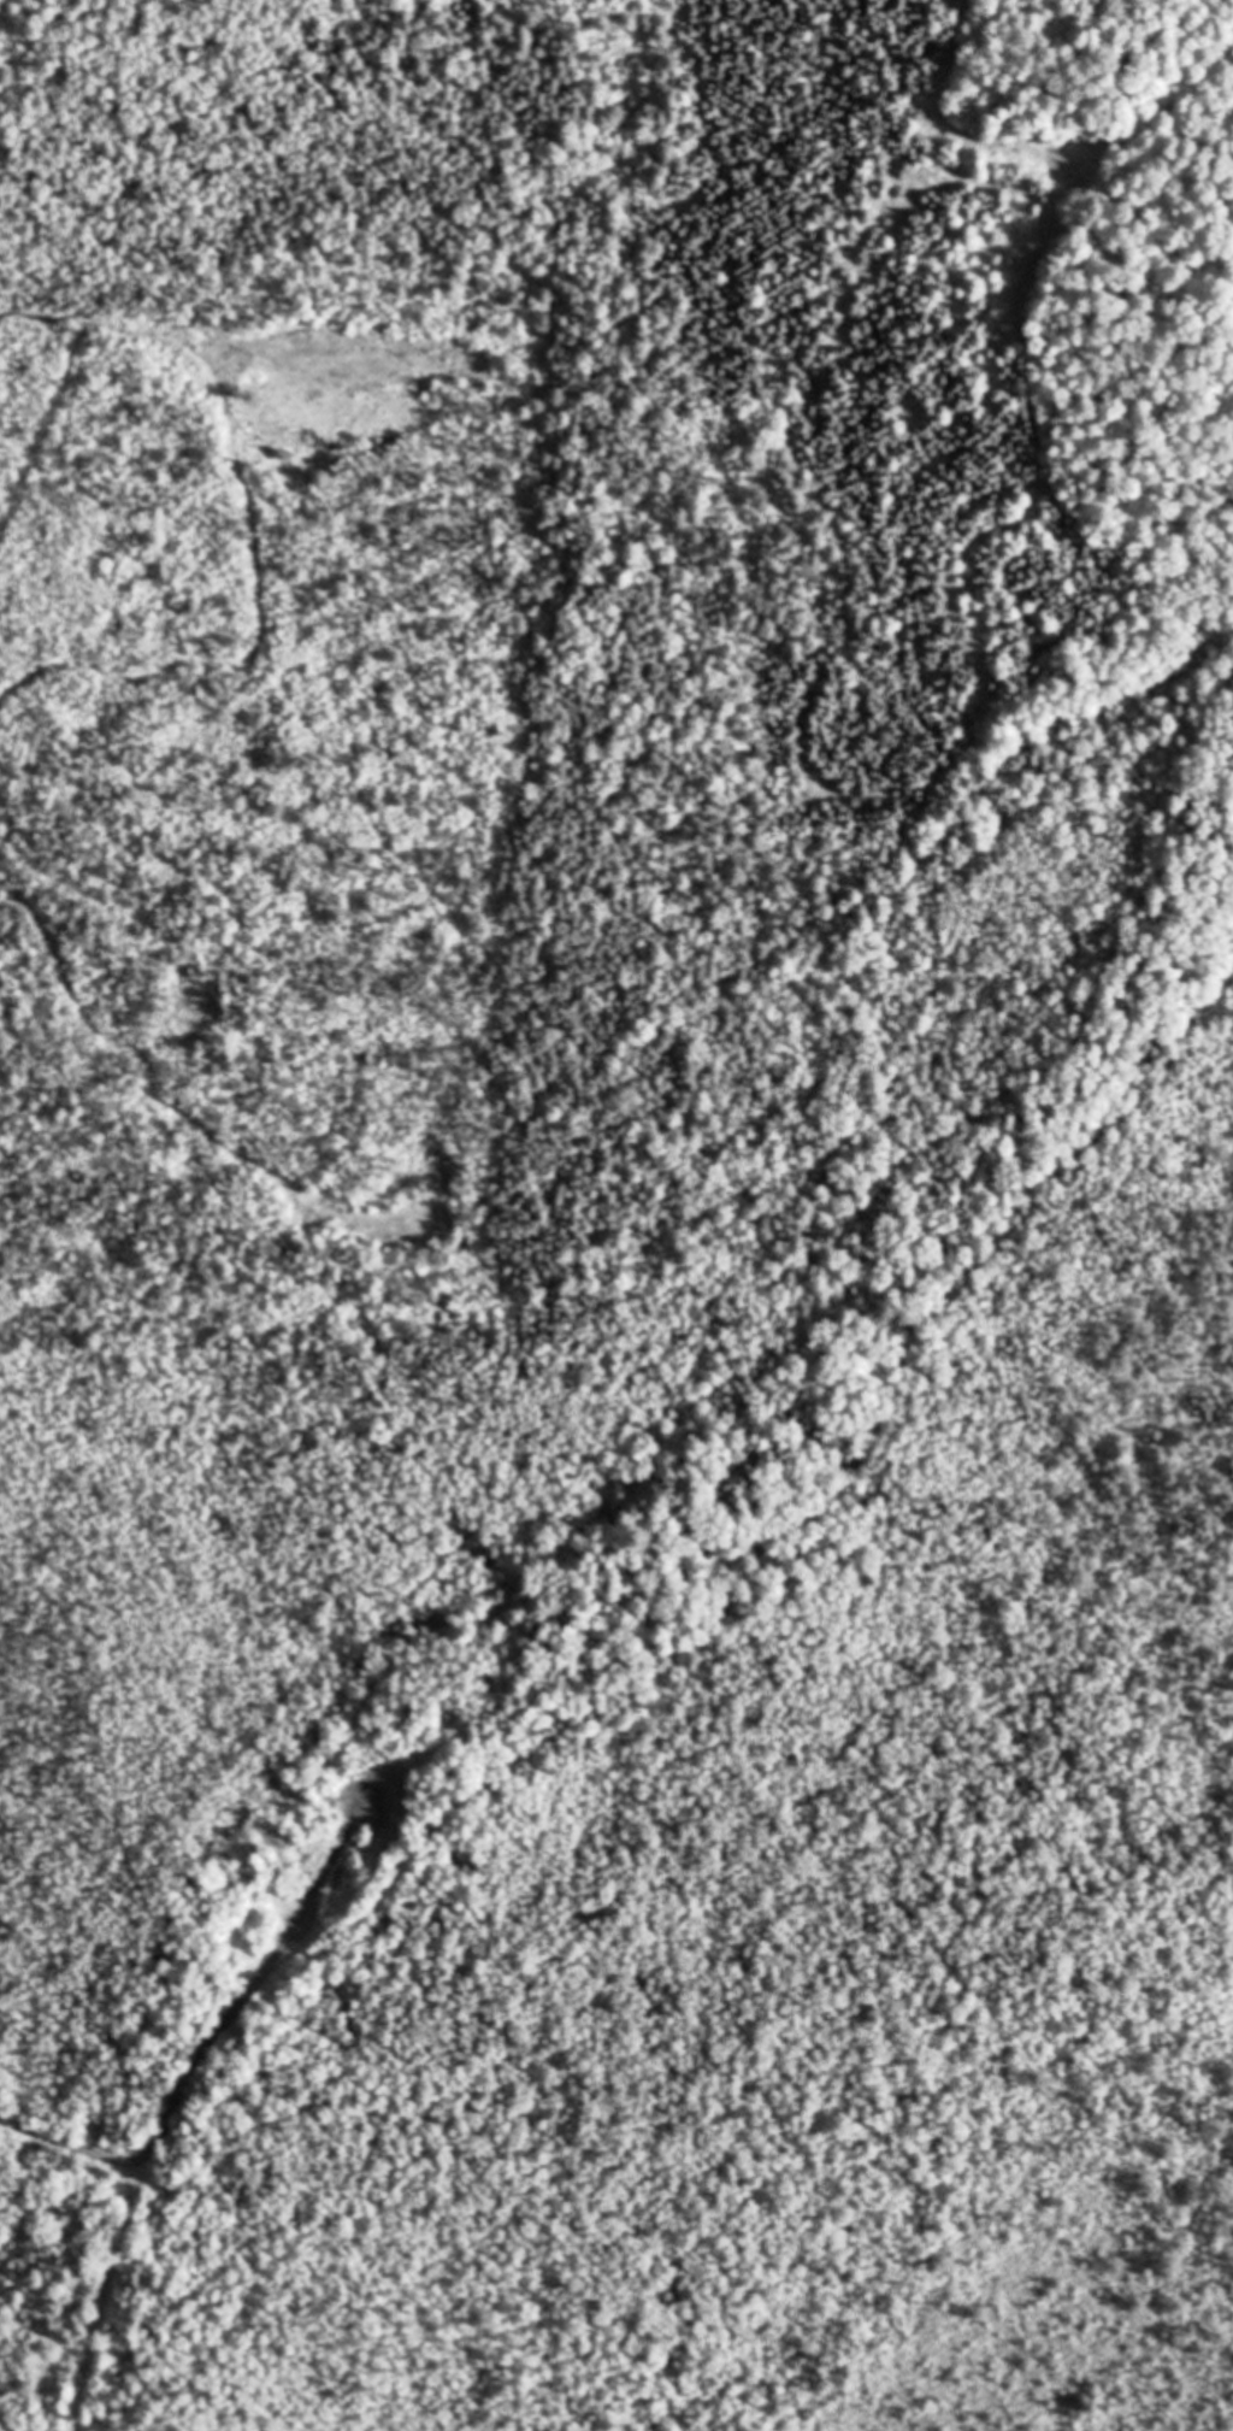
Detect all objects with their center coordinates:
road: (79, 2145)
road: (100, 2318)

